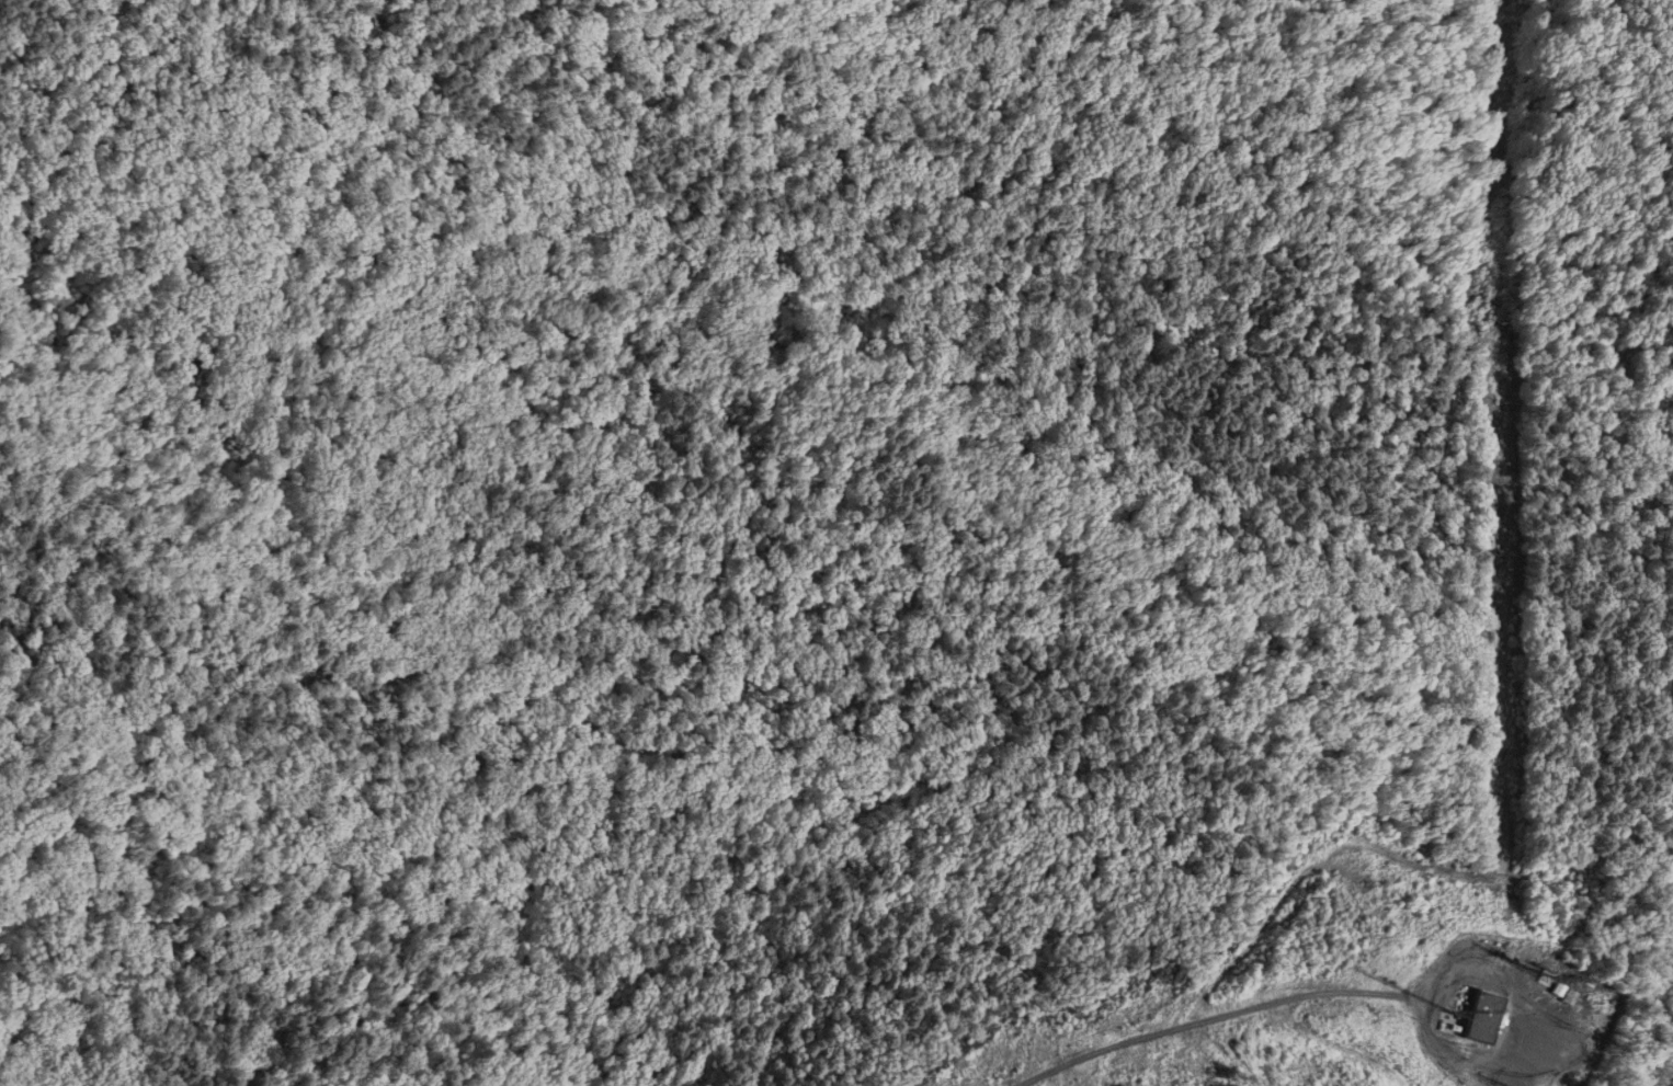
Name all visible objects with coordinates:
road: (1454, 350)
road: (19, 574)
road: (271, 689)
road: (59, 846)
road: (573, 973)
building: (1482, 1017)
road: (1170, 1031)

